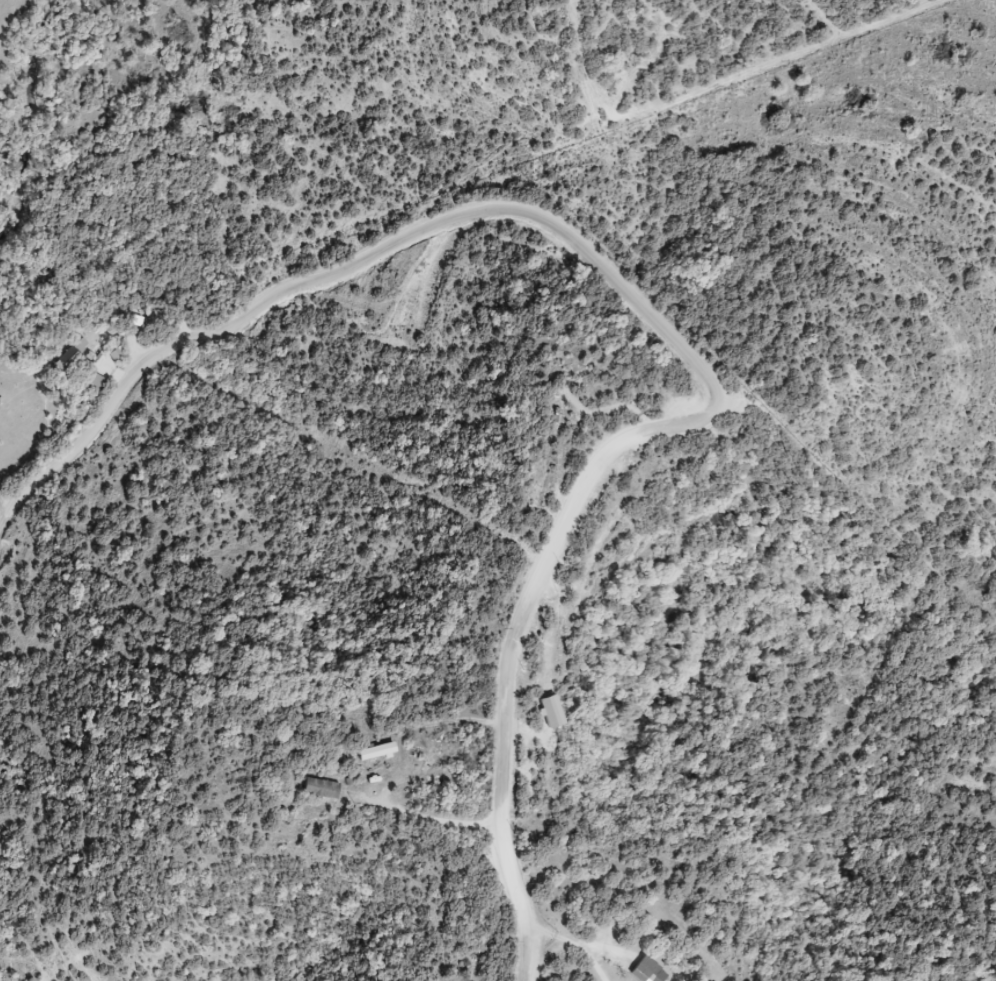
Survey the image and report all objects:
road: (645, 296)
road: (455, 725)
building: (322, 790)
road: (444, 822)
road: (581, 938)
building: (651, 976)

